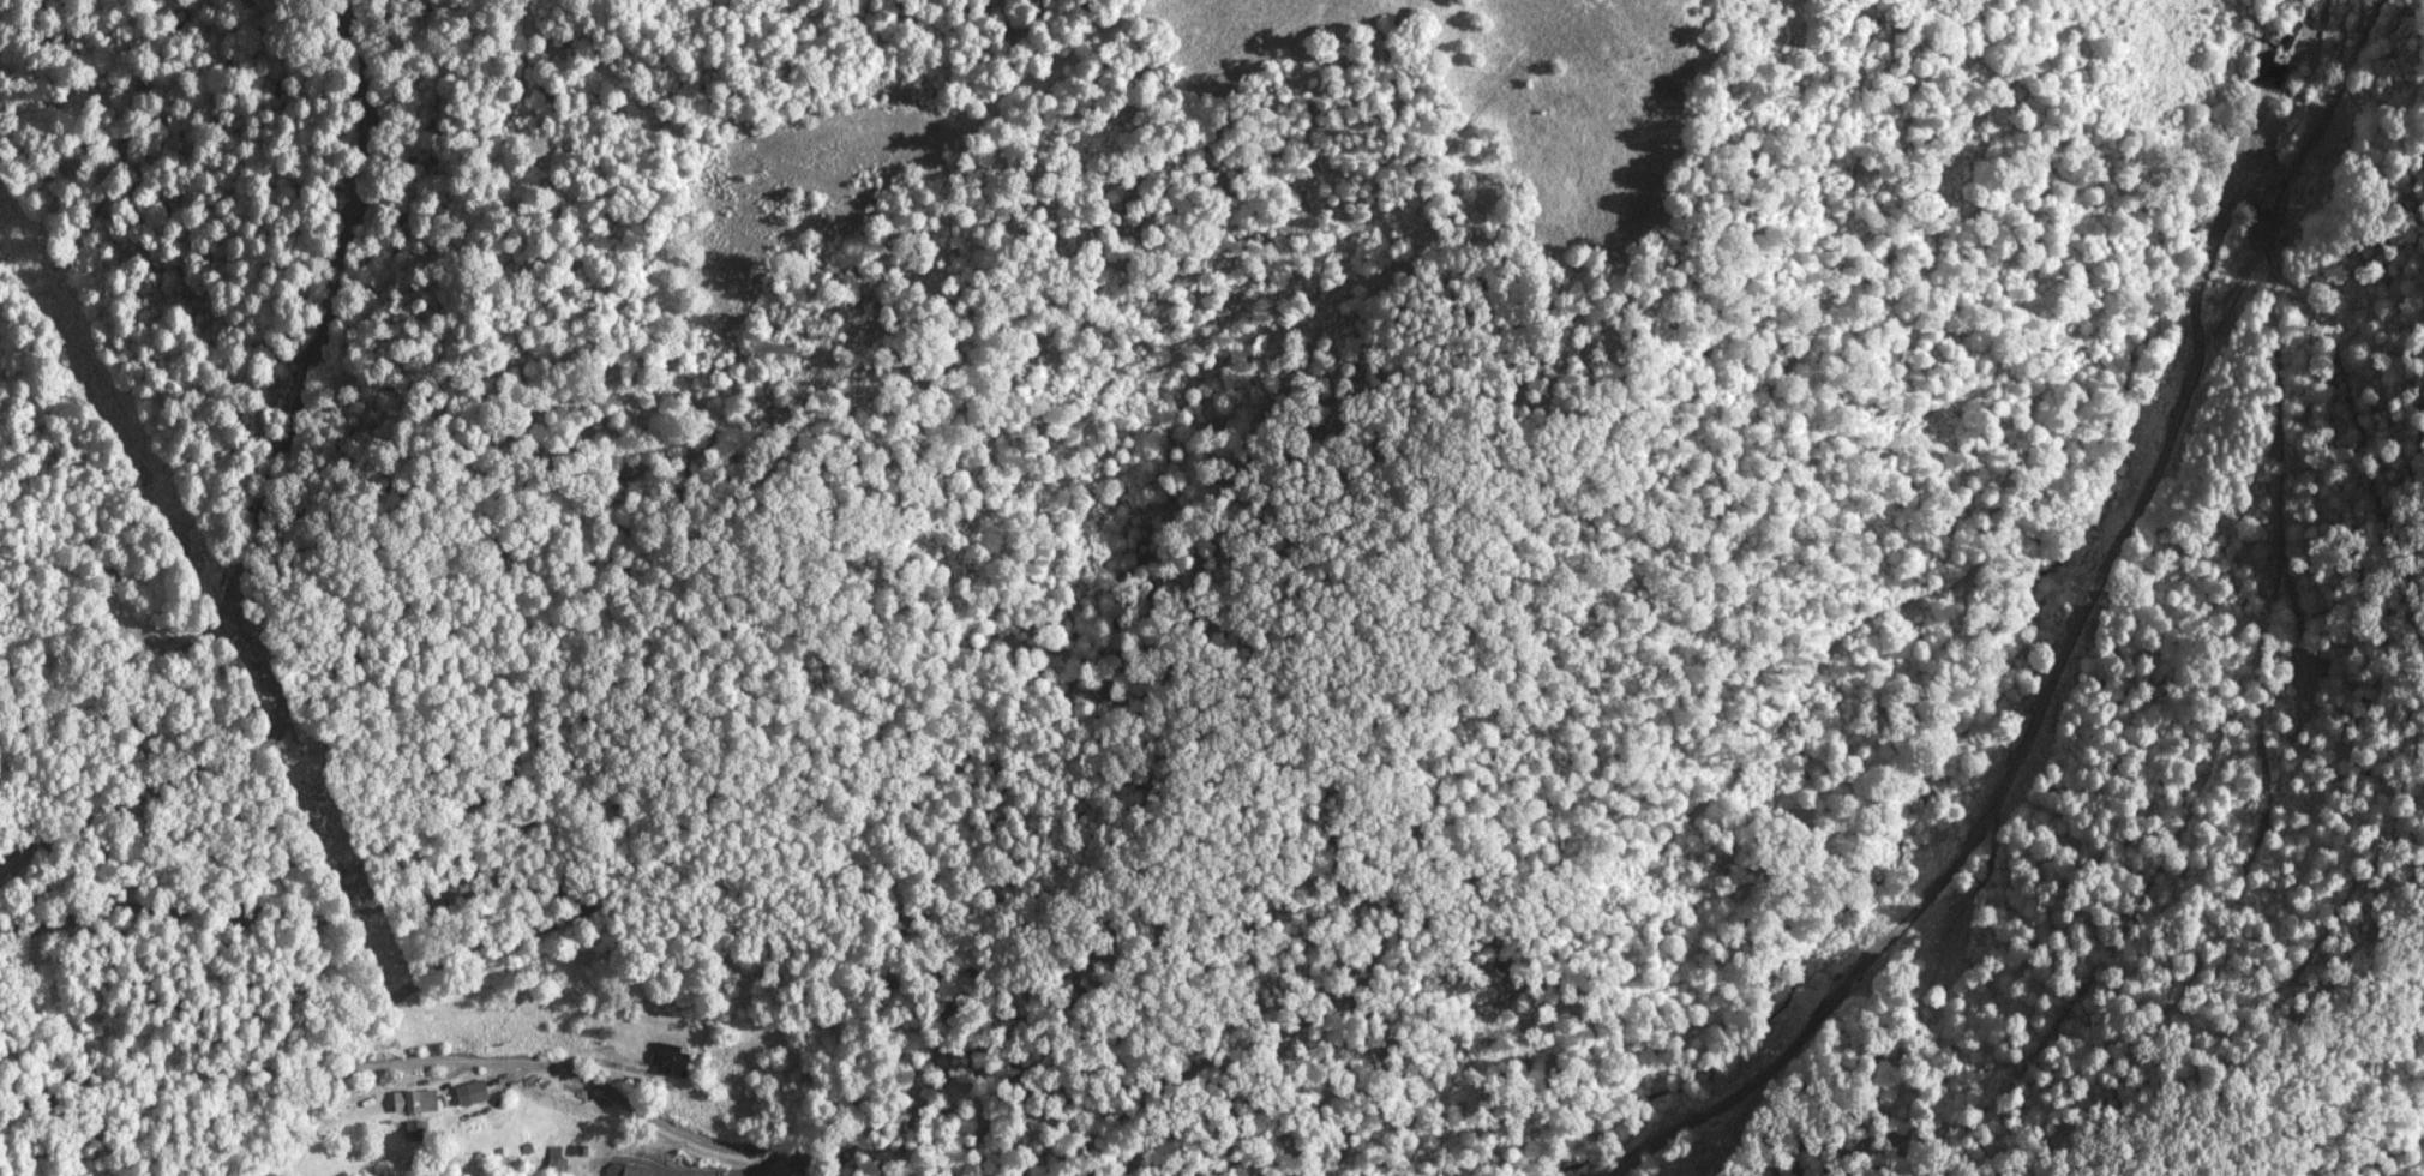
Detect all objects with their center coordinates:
building: (2284, 40)
building: (2268, 67)
road: (245, 436)
road: (1970, 731)
road: (494, 905)
building: (667, 1056)
building: (468, 1092)
building: (412, 1099)
building: (414, 1133)
building: (553, 1157)
building: (632, 1169)
building: (688, 1175)

